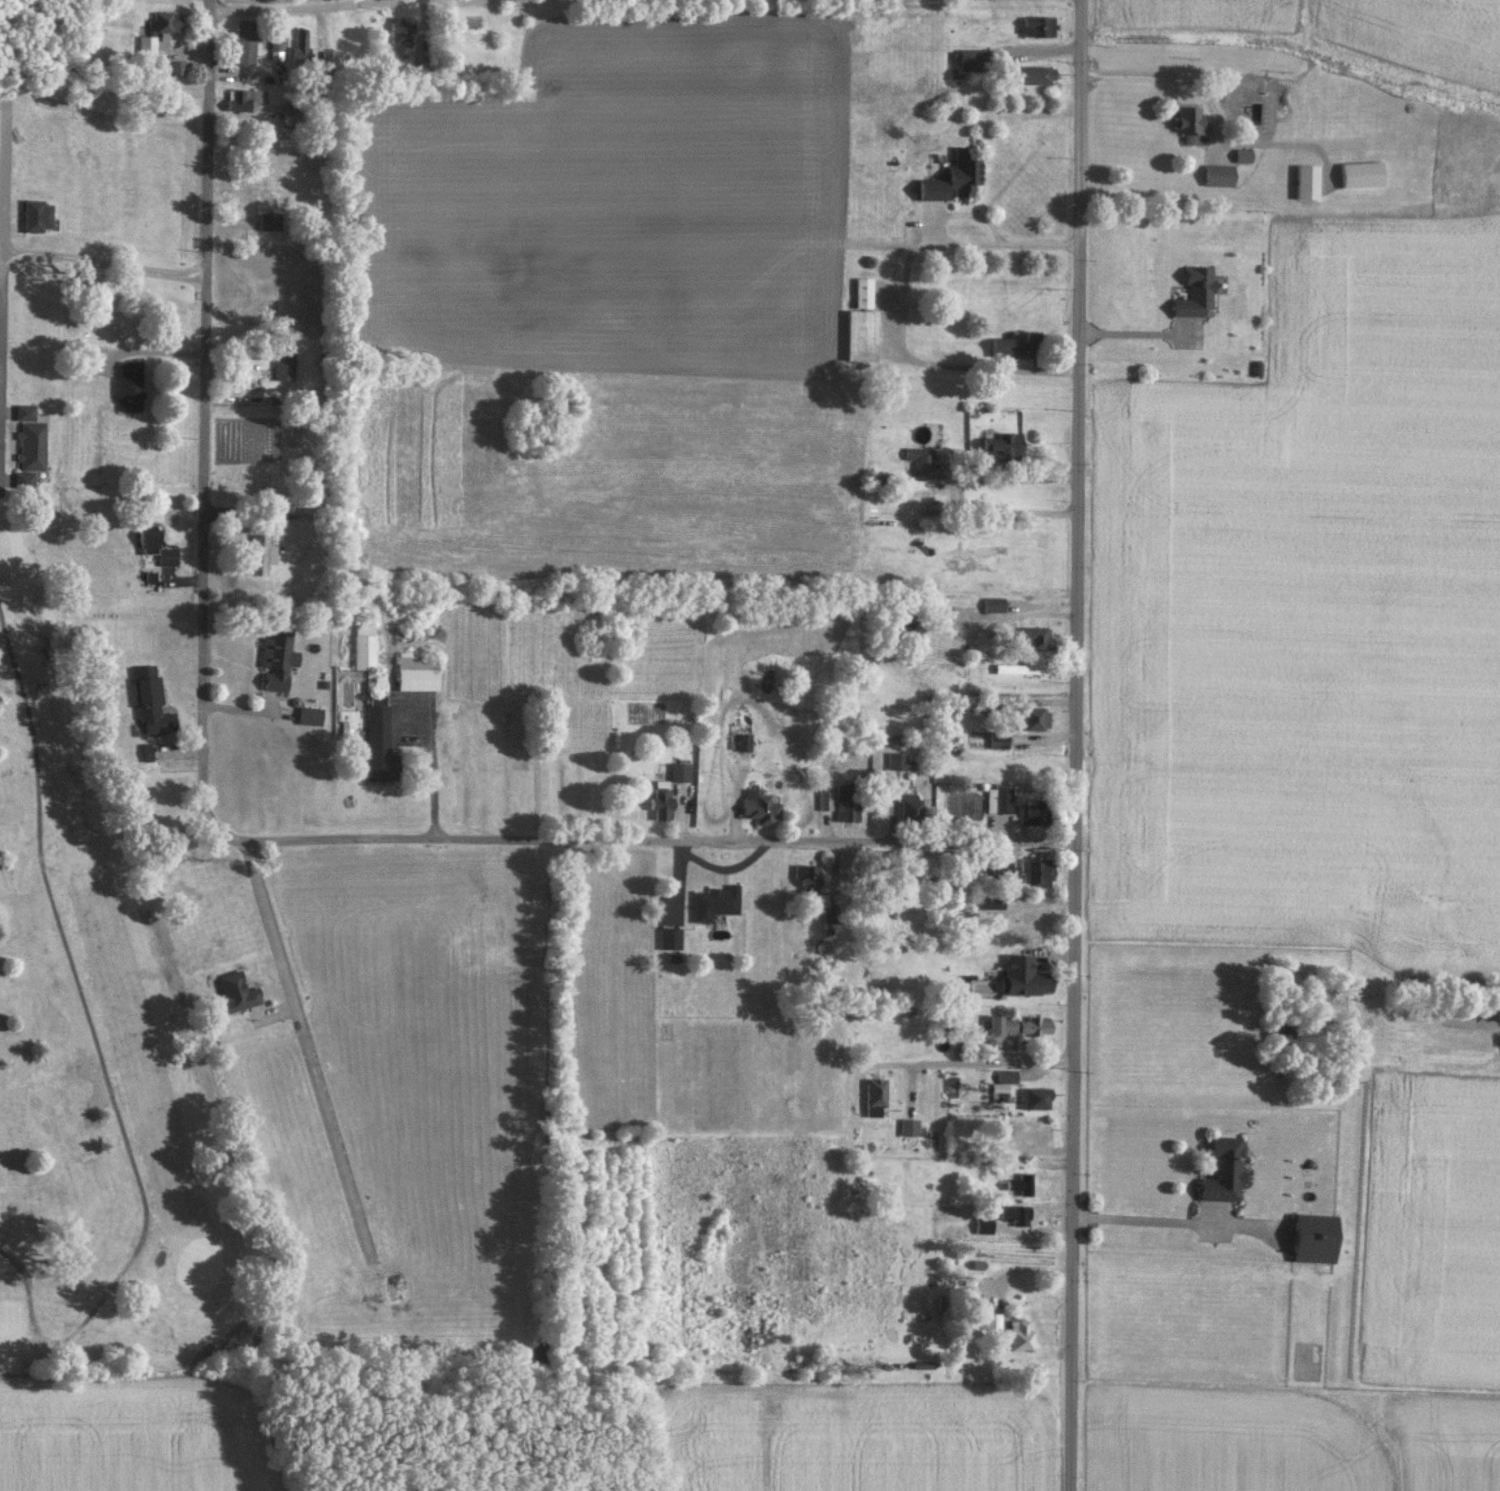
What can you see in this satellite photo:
road: (304, 9)
building: (165, 22)
building: (1037, 26)
building: (400, 35)
building: (244, 41)
building: (146, 44)
building: (300, 46)
building: (275, 47)
building: (970, 59)
building: (176, 67)
road: (1154, 72)
building: (1037, 74)
road: (169, 90)
building: (241, 98)
building: (1190, 123)
building: (1242, 154)
building: (1362, 173)
building: (1219, 174)
building: (953, 177)
building: (1307, 181)
road: (7, 183)
building: (36, 215)
building: (269, 220)
road: (4, 265)
building: (863, 292)
building: (1195, 292)
road: (900, 307)
road: (1143, 332)
building: (859, 336)
building: (1014, 345)
road: (153, 353)
building: (283, 365)
building: (128, 385)
building: (25, 411)
road: (205, 430)
building: (31, 445)
building: (1003, 446)
building: (921, 461)
building: (24, 479)
road: (956, 492)
building: (156, 547)
building: (261, 554)
building: (993, 603)
road: (1017, 613)
building: (1036, 637)
building: (363, 645)
building: (277, 659)
building: (1007, 667)
building: (150, 700)
building: (309, 714)
building: (1035, 717)
building: (998, 738)
building: (743, 740)
building: (379, 741)
road: (1082, 745)
building: (146, 751)
building: (897, 759)
building: (678, 771)
building: (661, 799)
building: (824, 799)
building: (998, 799)
building: (845, 801)
building: (910, 805)
building: (759, 806)
building: (1030, 811)
road: (597, 838)
road: (1044, 841)
building: (1037, 869)
building: (808, 876)
building: (715, 901)
building: (828, 913)
building: (669, 937)
building: (1025, 975)
building: (235, 991)
building: (1021, 1024)
road: (307, 1049)
road: (100, 1050)
road: (985, 1061)
building: (1006, 1075)
building: (875, 1095)
building: (1034, 1097)
park: (2, 1102)
building: (908, 1126)
building: (1224, 1169)
building: (1019, 1183)
building: (1015, 1213)
road: (1148, 1220)
building: (983, 1224)
building: (1315, 1237)
road: (1013, 1272)
building: (992, 1319)
building: (1020, 1335)
crop: (1444, 1443)

